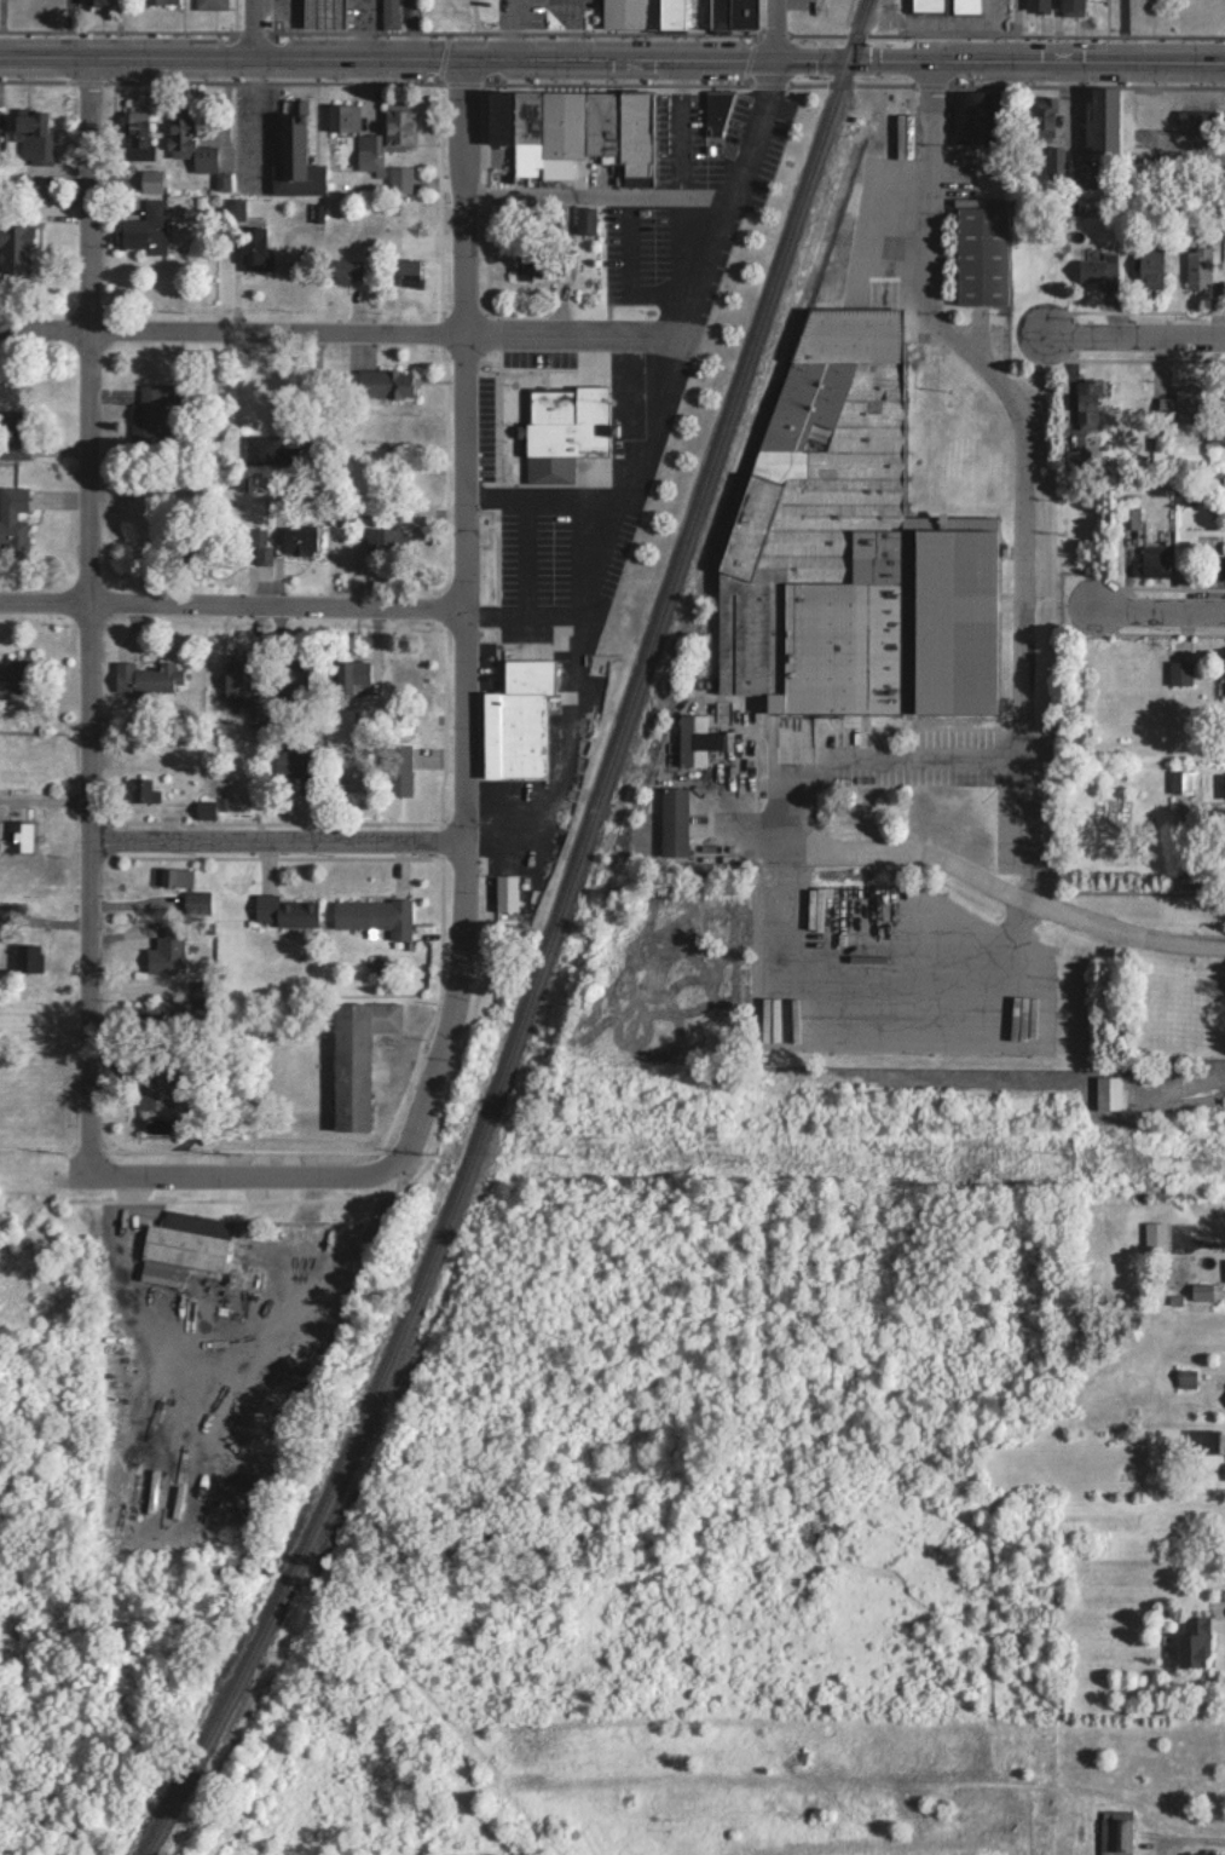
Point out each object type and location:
building: (92, 0)
building: (158, 1)
building: (207, 4)
building: (929, 5)
building: (964, 5)
building: (1036, 5)
building: (1070, 7)
road: (989, 12)
building: (319, 13)
building: (387, 15)
building: (641, 15)
building: (732, 15)
road: (926, 22)
road: (247, 25)
road: (768, 27)
road: (1015, 28)
road: (1125, 28)
road: (988, 40)
road: (612, 53)
building: (340, 117)
building: (713, 117)
building: (981, 117)
building: (1192, 119)
building: (1040, 120)
building: (1102, 121)
building: (397, 126)
building: (576, 127)
building: (133, 133)
building: (29, 136)
building: (186, 144)
building: (366, 154)
road: (664, 157)
building: (293, 162)
building: (149, 178)
road: (564, 202)
building: (583, 220)
building: (141, 229)
building: (252, 246)
building: (13, 249)
building: (977, 250)
building: (1148, 267)
building: (1097, 269)
building: (1197, 269)
building: (528, 270)
building: (341, 271)
building: (403, 271)
road: (1137, 338)
road: (486, 344)
building: (381, 384)
building: (1086, 403)
building: (1183, 404)
building: (152, 410)
building: (560, 431)
building: (12, 433)
building: (259, 449)
road: (1019, 461)
building: (1223, 495)
road: (626, 497)
building: (12, 515)
building: (1128, 518)
railway: (683, 537)
building: (857, 537)
building: (299, 541)
building: (256, 546)
building: (381, 547)
building: (1152, 560)
building: (1224, 568)
road: (231, 605)
road: (1158, 610)
road: (89, 612)
road: (591, 617)
road: (463, 620)
building: (1179, 673)
building: (1224, 673)
building: (13, 676)
building: (144, 678)
building: (404, 679)
building: (514, 719)
building: (693, 741)
road: (872, 754)
road: (564, 764)
building: (395, 770)
building: (307, 771)
building: (1179, 782)
building: (1223, 785)
building: (137, 790)
building: (671, 822)
building: (15, 837)
road: (277, 843)
building: (173, 877)
road: (1000, 887)
building: (502, 889)
building: (279, 911)
building: (372, 916)
building: (163, 956)
building: (25, 958)
road: (861, 970)
building: (353, 1058)
building: (154, 1084)
building: (1106, 1091)
road: (241, 1175)
building: (1155, 1235)
building: (185, 1240)
road: (1202, 1240)
railway: (336, 1469)
building: (1191, 1640)
building: (1111, 1834)
road: (1192, 1837)
building: (1204, 1853)

